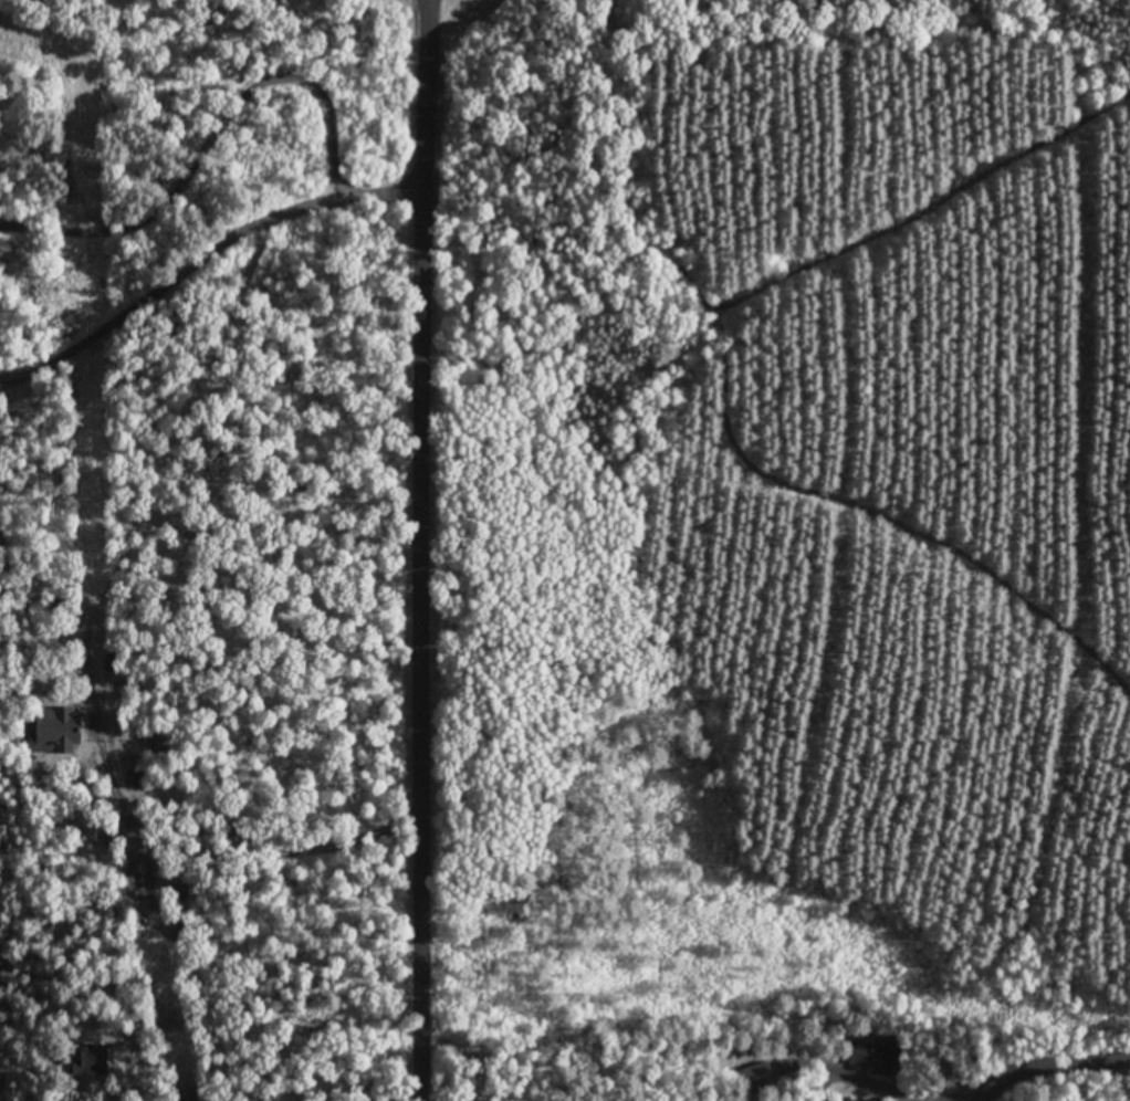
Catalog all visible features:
park: (206, 516)
road: (422, 550)
road: (88, 587)
building: (55, 719)
road: (1046, 1063)
building: (753, 1076)

